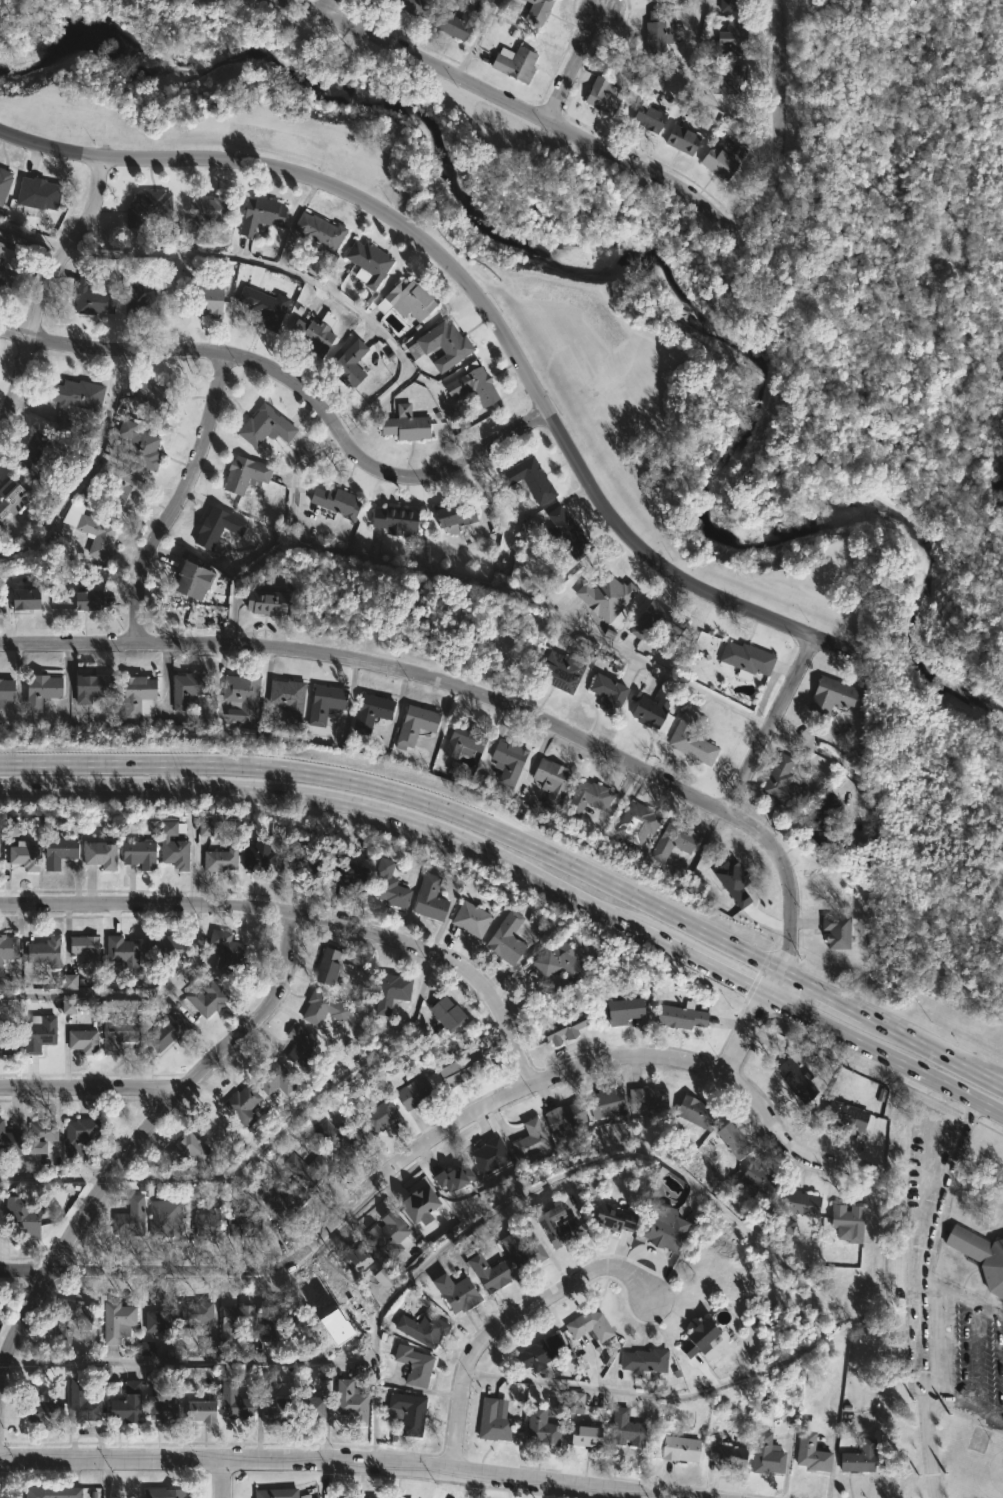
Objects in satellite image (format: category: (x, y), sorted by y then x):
building: (649, 0)
building: (731, 5)
building: (413, 6)
road: (301, 8)
road: (328, 8)
building: (536, 9)
building: (453, 22)
building: (654, 33)
road: (470, 38)
building: (733, 39)
building: (513, 64)
road: (576, 65)
building: (729, 80)
road: (691, 90)
building: (601, 96)
road: (504, 101)
building: (647, 117)
building: (680, 139)
road: (775, 155)
building: (718, 162)
building: (5, 185)
building: (41, 194)
building: (145, 207)
building: (208, 213)
building: (258, 214)
building: (318, 231)
road: (34, 235)
building: (6, 253)
building: (365, 263)
road: (303, 278)
building: (7, 279)
building: (133, 283)
road: (466, 285)
road: (43, 292)
building: (92, 295)
building: (199, 297)
building: (405, 299)
building: (262, 306)
building: (312, 332)
building: (442, 345)
building: (414, 350)
building: (347, 363)
park: (698, 366)
road: (295, 383)
building: (471, 386)
building: (75, 395)
building: (155, 396)
building: (405, 424)
building: (262, 426)
building: (135, 445)
building: (40, 452)
road: (86, 470)
building: (242, 475)
building: (527, 480)
building: (118, 487)
building: (13, 498)
road: (178, 498)
building: (334, 502)
building: (452, 516)
building: (391, 518)
building: (215, 528)
building: (86, 531)
building: (566, 533)
building: (189, 580)
building: (604, 596)
building: (20, 599)
building: (84, 601)
building: (261, 602)
building: (655, 621)
road: (829, 641)
building: (745, 659)
road: (378, 664)
building: (559, 671)
building: (90, 687)
building: (185, 689)
building: (41, 691)
building: (6, 692)
building: (605, 693)
building: (239, 696)
building: (830, 696)
building: (135, 697)
building: (285, 701)
building: (686, 703)
building: (321, 704)
building: (646, 712)
building: (368, 713)
road: (770, 722)
building: (412, 725)
building: (461, 741)
building: (690, 741)
building: (506, 761)
road: (167, 771)
building: (549, 781)
building: (779, 783)
road: (409, 790)
road: (338, 796)
building: (587, 798)
building: (818, 821)
building: (634, 823)
building: (205, 829)
building: (670, 842)
building: (169, 846)
building: (57, 849)
building: (22, 854)
building: (136, 854)
building: (97, 855)
building: (297, 855)
building: (257, 856)
building: (218, 859)
building: (343, 875)
road: (789, 878)
building: (733, 882)
building: (388, 884)
building: (427, 897)
road: (304, 916)
building: (468, 919)
building: (836, 931)
building: (502, 940)
building: (83, 946)
building: (162, 946)
building: (9, 949)
building: (48, 951)
building: (226, 952)
building: (117, 955)
road: (708, 960)
building: (554, 961)
building: (326, 965)
building: (69, 981)
road: (773, 982)
building: (386, 991)
road: (822, 992)
building: (203, 998)
building: (67, 1006)
building: (322, 1008)
building: (621, 1010)
building: (441, 1012)
building: (679, 1016)
building: (563, 1027)
building: (166, 1028)
building: (39, 1030)
building: (118, 1032)
road: (744, 1035)
building: (9, 1037)
building: (82, 1039)
building: (298, 1048)
road: (933, 1050)
road: (884, 1051)
building: (458, 1069)
road: (996, 1077)
building: (273, 1078)
building: (792, 1082)
road: (94, 1083)
building: (412, 1092)
road: (178, 1093)
building: (646, 1099)
building: (240, 1104)
building: (604, 1104)
building: (694, 1111)
building: (379, 1116)
building: (844, 1116)
building: (563, 1117)
building: (83, 1131)
road: (781, 1131)
building: (41, 1139)
building: (9, 1140)
building: (528, 1140)
building: (731, 1140)
building: (341, 1143)
building: (189, 1150)
building: (487, 1156)
building: (308, 1167)
building: (451, 1176)
building: (757, 1179)
road: (384, 1182)
building: (281, 1200)
building: (419, 1205)
building: (798, 1205)
building: (21, 1217)
building: (130, 1217)
building: (162, 1217)
building: (611, 1217)
building: (242, 1223)
building: (845, 1223)
building: (204, 1225)
building: (554, 1225)
building: (659, 1230)
building: (391, 1233)
building: (520, 1252)
road: (435, 1253)
building: (980, 1257)
building: (353, 1258)
road: (24, 1272)
building: (486, 1273)
building: (384, 1278)
building: (453, 1294)
road: (923, 1294)
road: (962, 1298)
building: (193, 1314)
building: (274, 1318)
building: (113, 1320)
building: (69, 1321)
building: (157, 1321)
building: (231, 1321)
building: (586, 1325)
road: (21, 1326)
road: (507, 1326)
building: (421, 1330)
building: (696, 1338)
building: (206, 1349)
building: (538, 1353)
building: (642, 1361)
road: (3, 1362)
building: (411, 1365)
road: (882, 1365)
road: (767, 1368)
building: (323, 1373)
building: (152, 1380)
building: (231, 1401)
building: (346, 1401)
building: (124, 1403)
building: (576, 1403)
building: (79, 1404)
building: (305, 1404)
road: (965, 1404)
building: (41, 1406)
building: (158, 1406)
building: (197, 1411)
building: (272, 1411)
building: (404, 1412)
building: (490, 1421)
building: (539, 1426)
building: (626, 1428)
building: (583, 1436)
building: (679, 1449)
building: (809, 1450)
road: (882, 1453)
building: (726, 1455)
building: (765, 1455)
building: (857, 1458)
road: (338, 1464)
road: (108, 1478)
road: (217, 1478)
road: (326, 1481)
road: (553, 1491)
building: (54, 1492)
building: (161, 1493)
building: (273, 1493)
building: (362, 1497)

